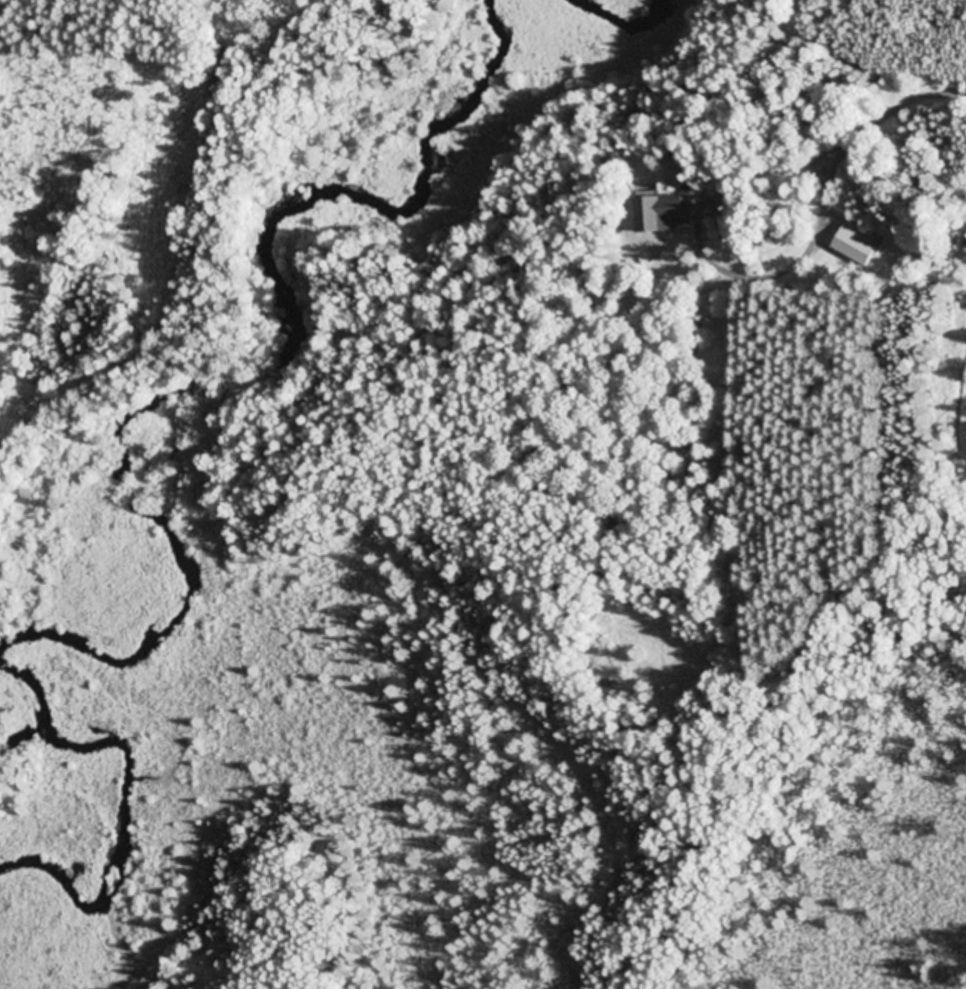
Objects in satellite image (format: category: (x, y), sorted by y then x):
road: (945, 96)
building: (661, 213)
building: (855, 248)

